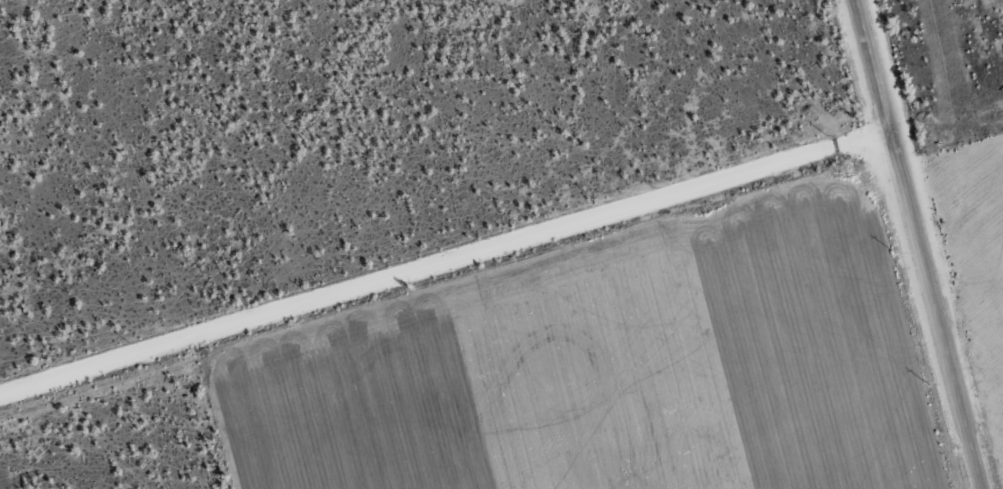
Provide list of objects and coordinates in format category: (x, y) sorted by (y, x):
road: (913, 244)
road: (442, 263)

